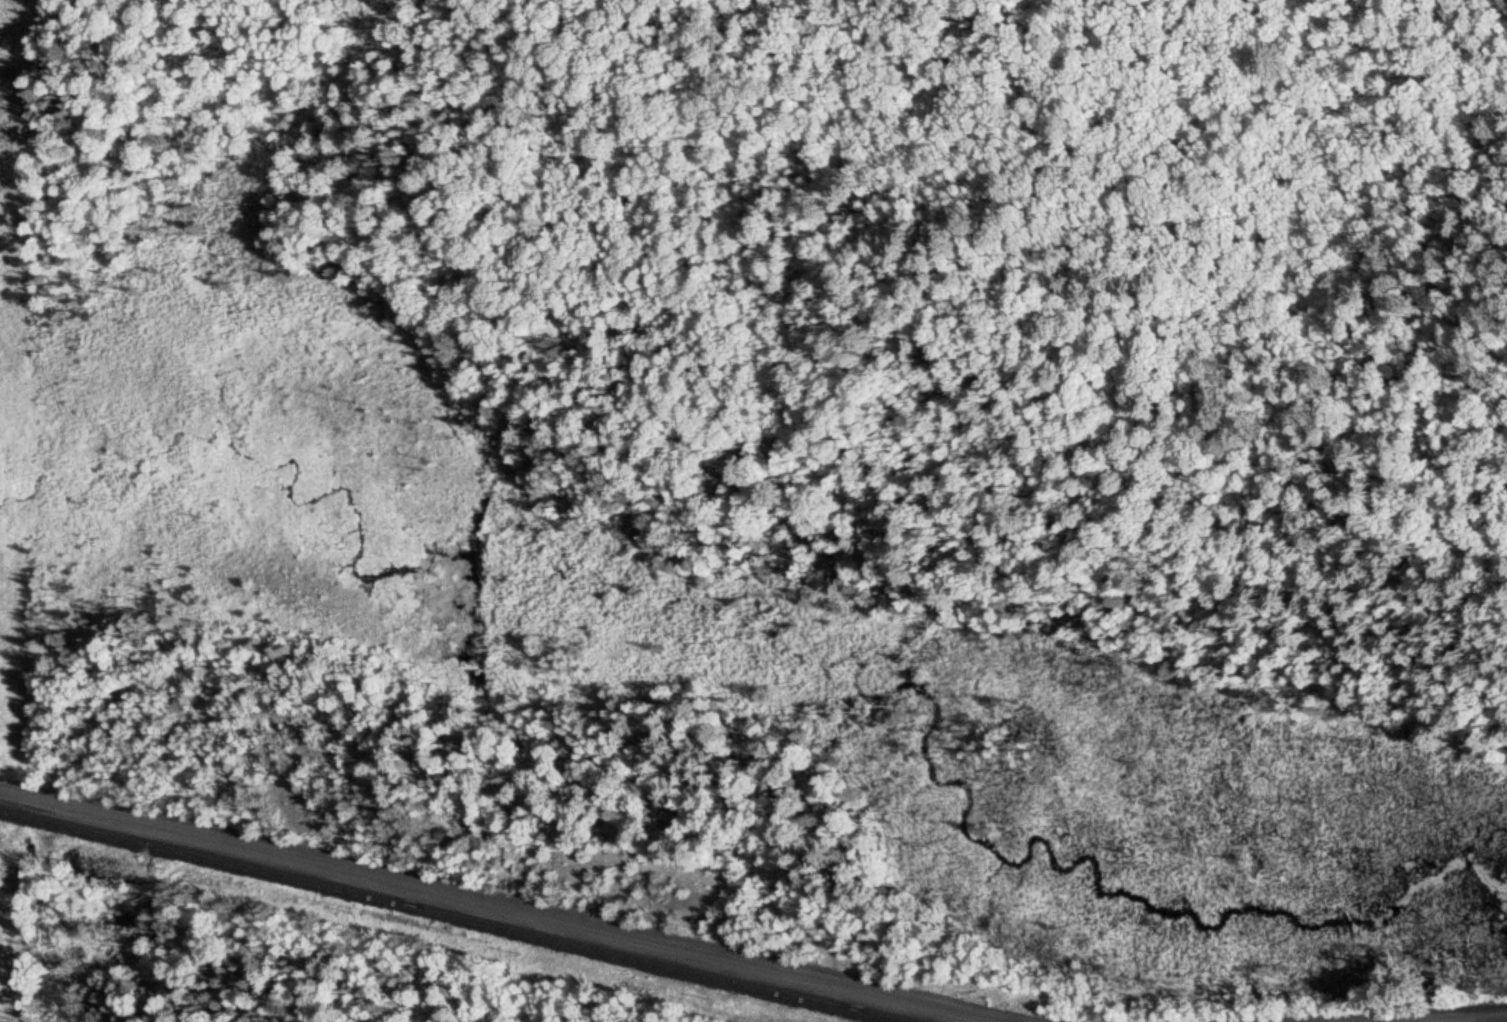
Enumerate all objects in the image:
road: (357, 914)

